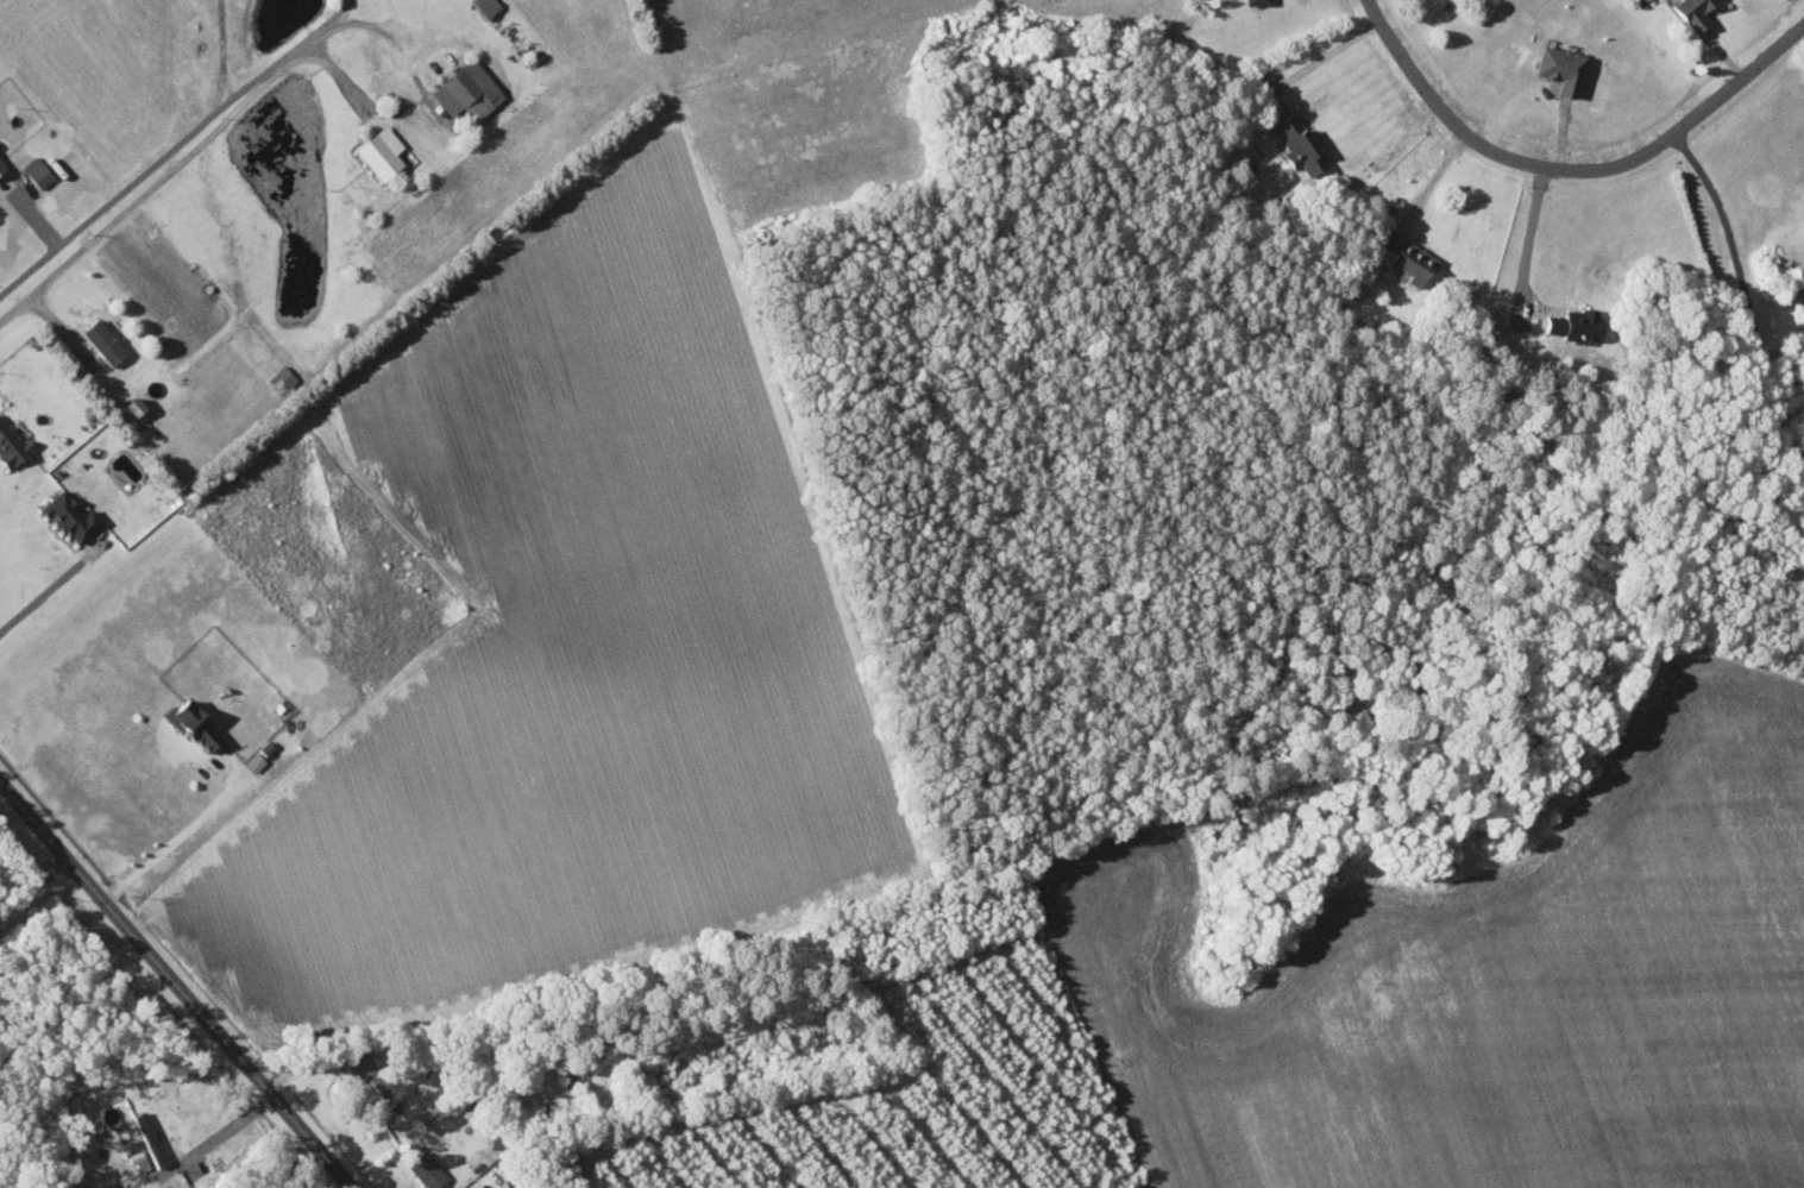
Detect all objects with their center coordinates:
building: (1258, 2)
building: (485, 7)
building: (1696, 12)
road: (1325, 55)
building: (1563, 69)
road: (344, 80)
road: (246, 90)
building: (464, 92)
building: (1300, 143)
building: (382, 152)
building: (2, 163)
road: (1576, 164)
building: (38, 170)
road: (157, 181)
road: (112, 202)
building: (1410, 258)
road: (1740, 296)
building: (1576, 323)
building: (105, 340)
building: (134, 410)
building: (12, 442)
building: (71, 516)
road: (42, 595)
building: (195, 724)
building: (256, 762)
road: (171, 841)
road: (34, 887)
road: (174, 982)
building: (373, 1085)
building: (428, 1170)

